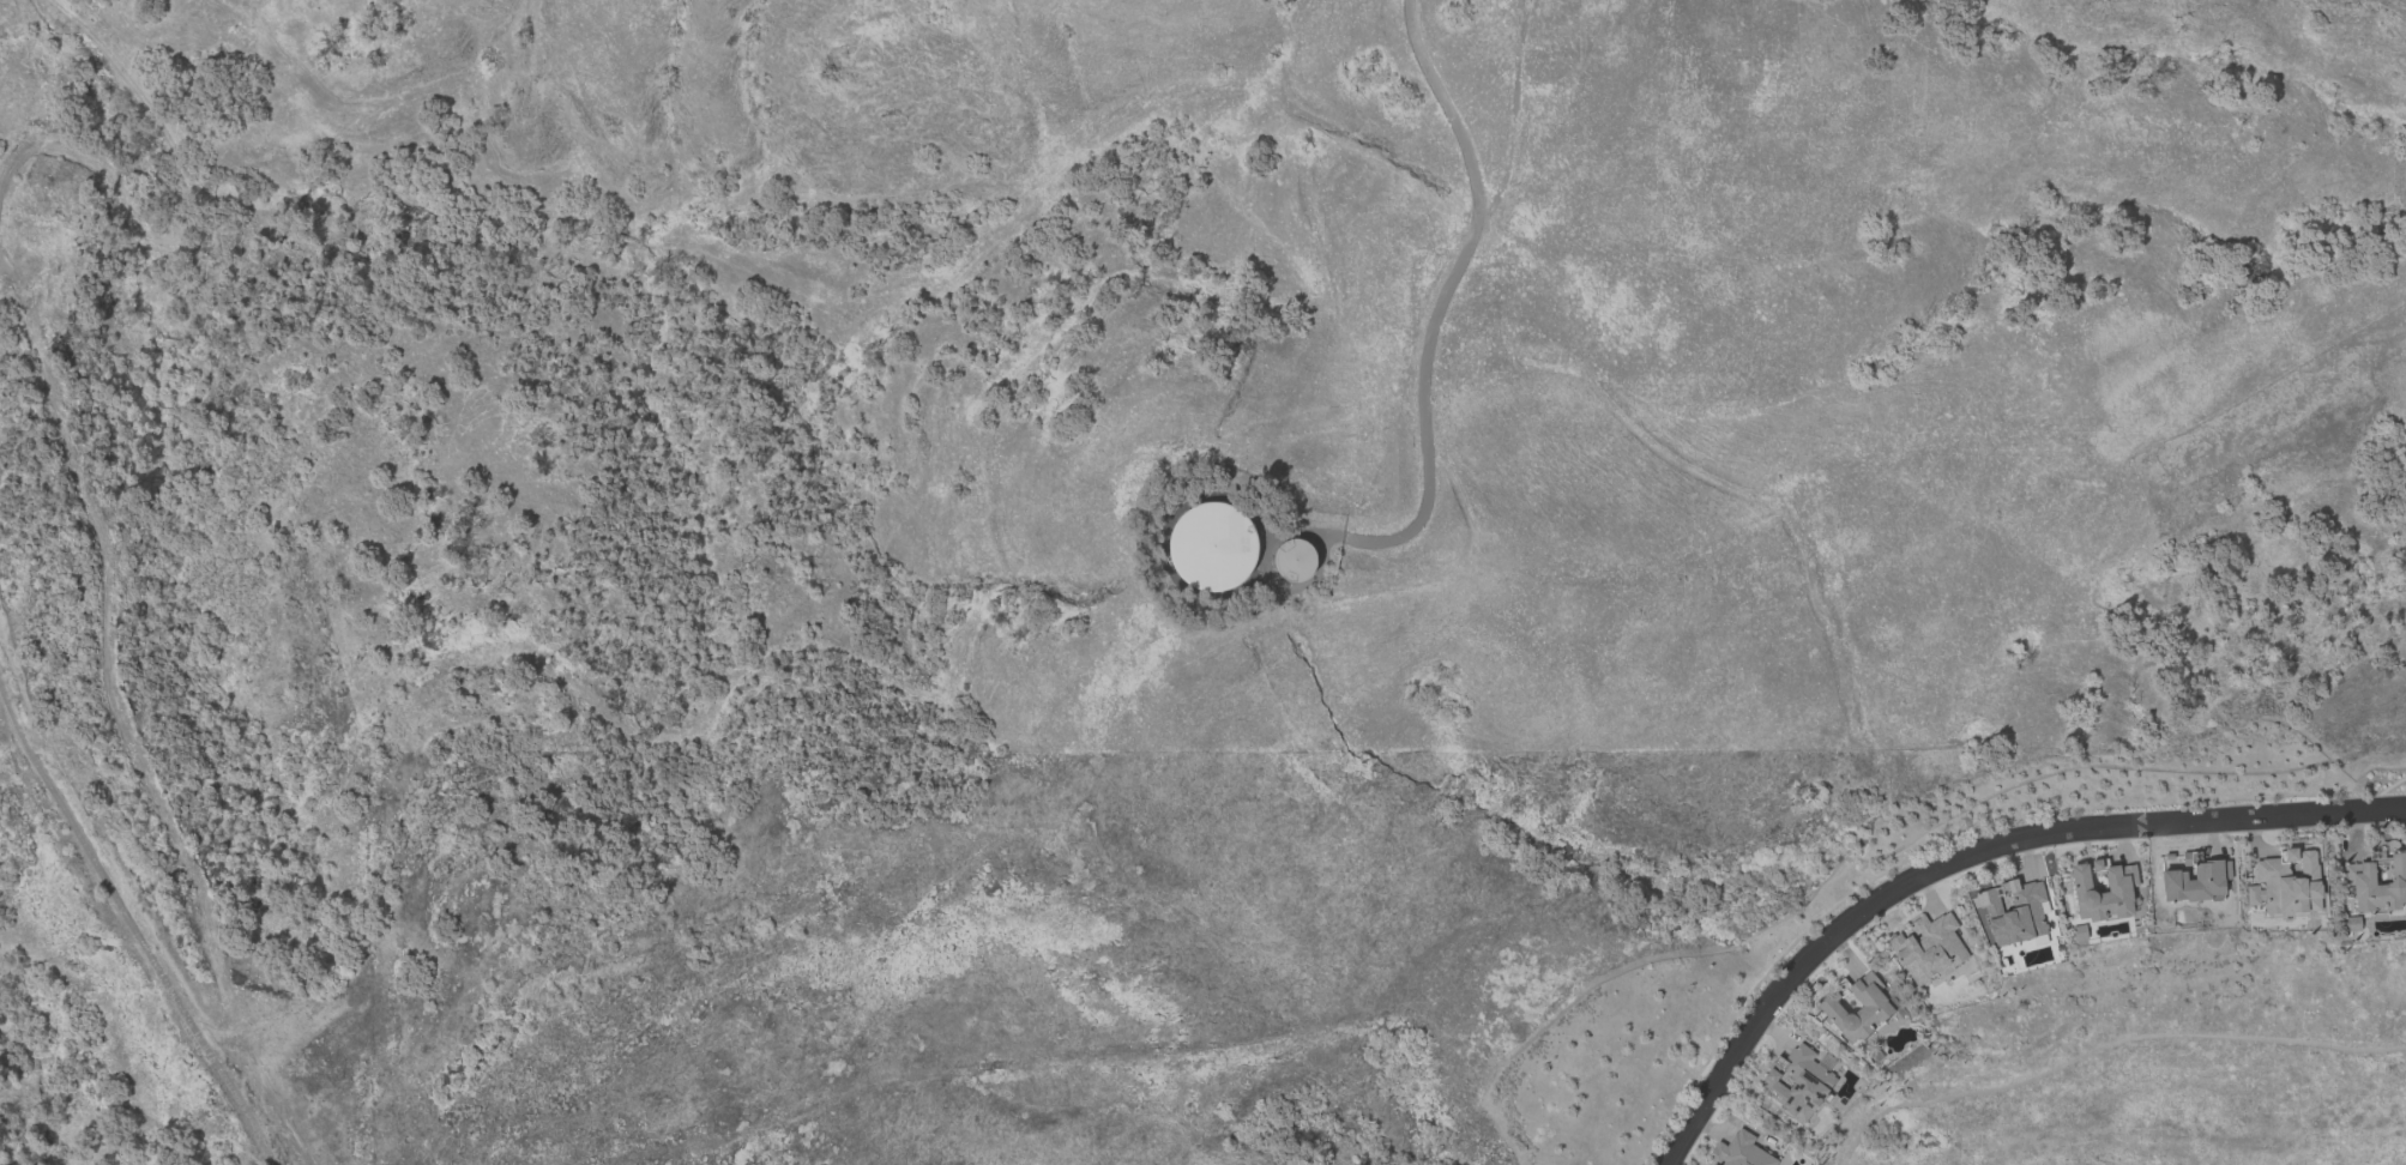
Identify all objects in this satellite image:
road: (50, 107)
road: (1446, 288)
building: (1212, 547)
building: (1294, 549)
road: (1970, 858)
building: (2358, 874)
building: (2195, 881)
building: (2286, 883)
building: (2118, 889)
building: (2012, 911)
road: (129, 919)
building: (2350, 924)
building: (1928, 948)
building: (1857, 1009)
road: (2104, 1045)
building: (1796, 1082)
park: (2160, 1101)
building: (1737, 1152)

